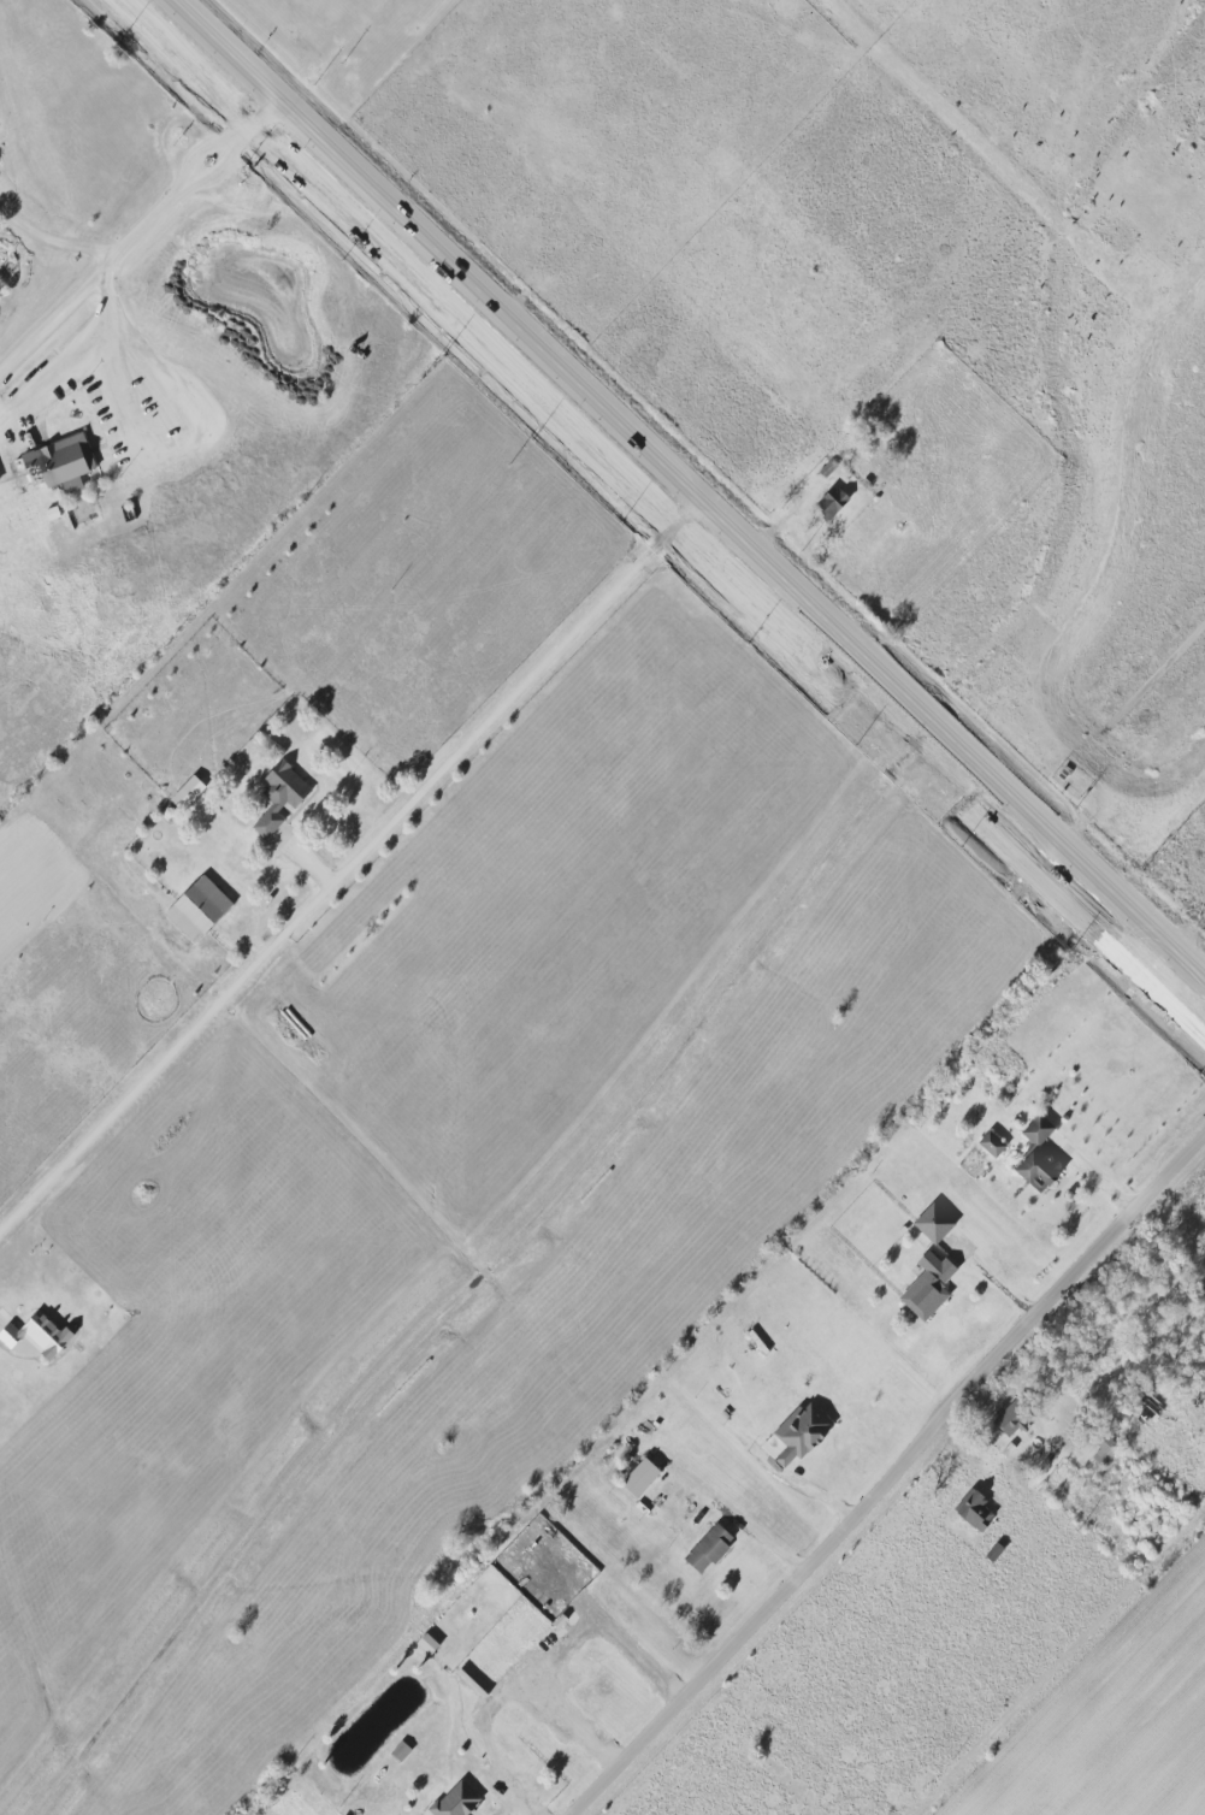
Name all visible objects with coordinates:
road: (140, 232)
road: (52, 241)
road: (77, 354)
building: (61, 462)
road: (687, 496)
building: (831, 502)
building: (187, 793)
building: (279, 797)
road: (355, 877)
building: (197, 909)
building: (1038, 1130)
building: (991, 1143)
building: (1035, 1172)
building: (933, 1223)
building: (928, 1287)
building: (37, 1336)
building: (1010, 1418)
building: (797, 1433)
building: (639, 1477)
road: (892, 1479)
building: (974, 1510)
road: (755, 1531)
building: (708, 1548)
building: (425, 1643)
road: (561, 1649)
road: (1067, 1671)
road: (482, 1738)
building: (455, 1801)

